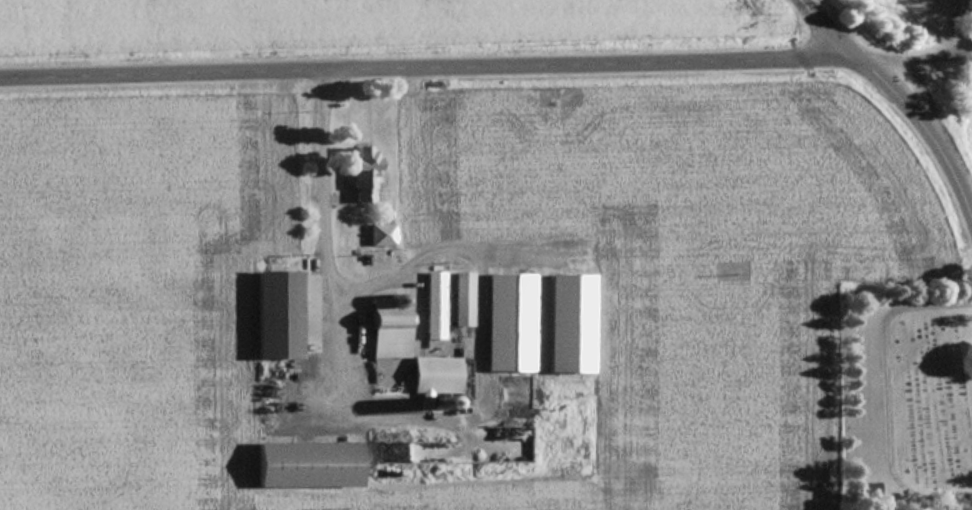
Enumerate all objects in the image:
road: (420, 66)
road: (901, 100)
building: (360, 172)
building: (380, 233)
building: (462, 299)
building: (434, 305)
building: (275, 313)
building: (508, 322)
building: (386, 335)
building: (435, 374)
building: (251, 383)
park: (908, 396)
building: (484, 434)
building: (871, 489)

